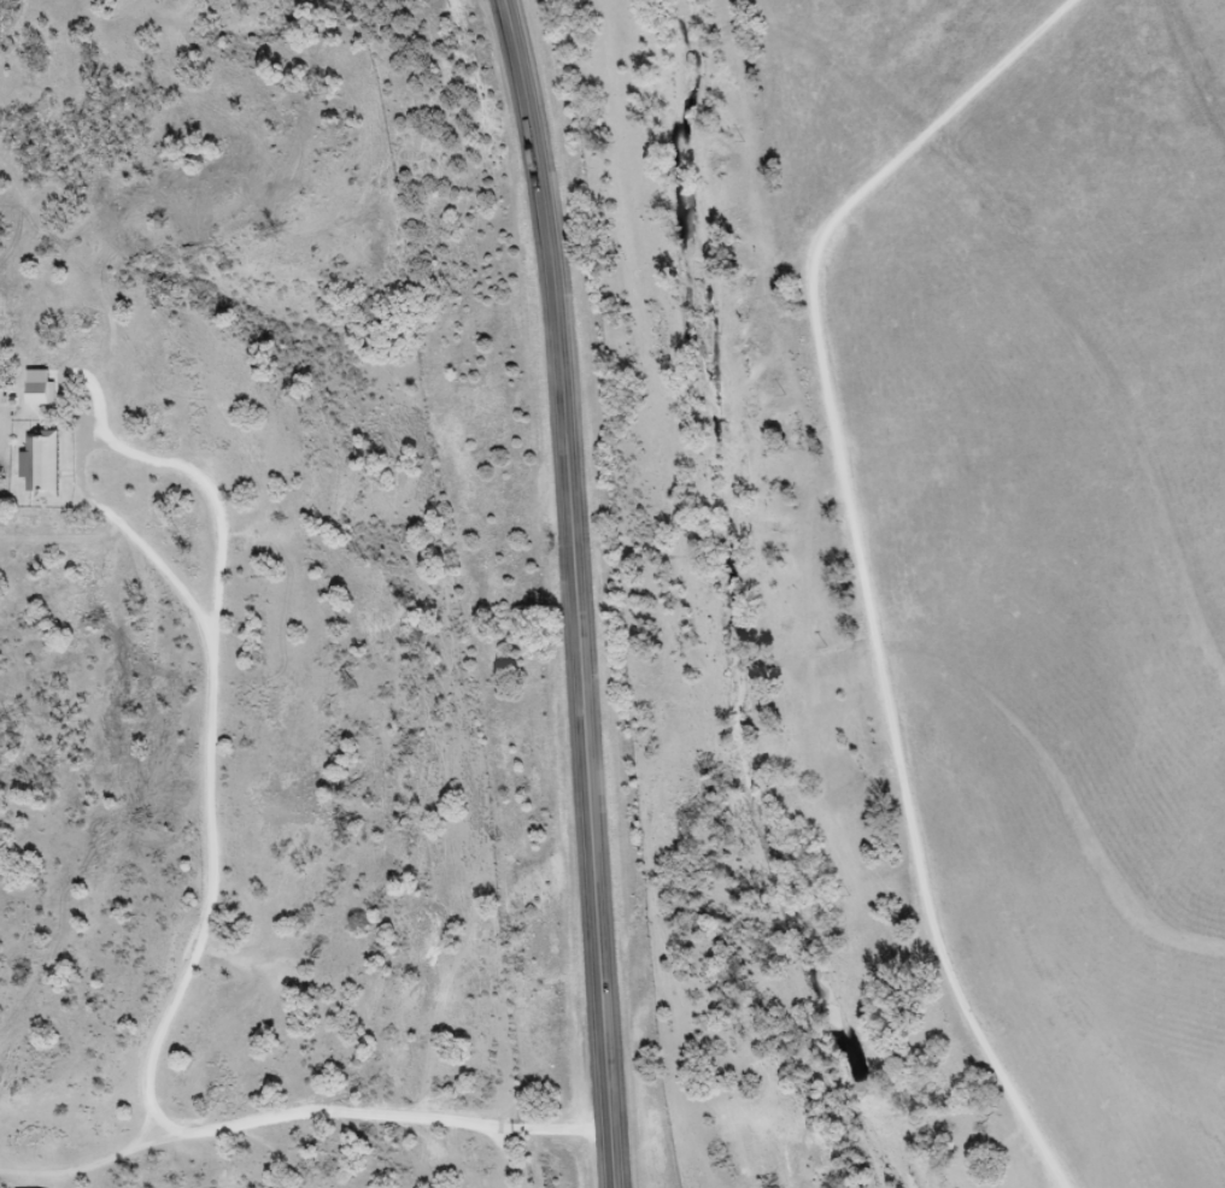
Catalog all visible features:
building: (45, 463)
road: (592, 590)
road: (178, 1017)

